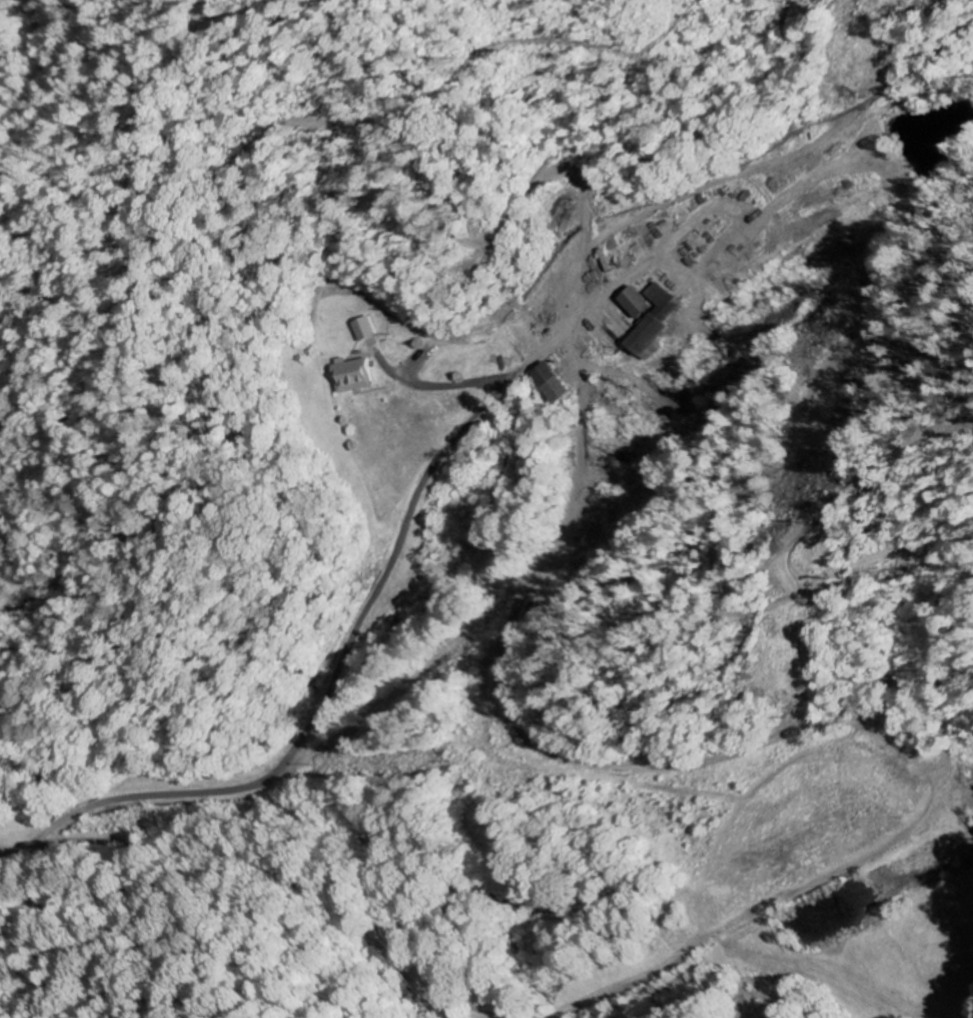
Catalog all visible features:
building: (647, 303)
building: (664, 323)
building: (366, 330)
building: (357, 375)
building: (561, 384)
road: (394, 694)

